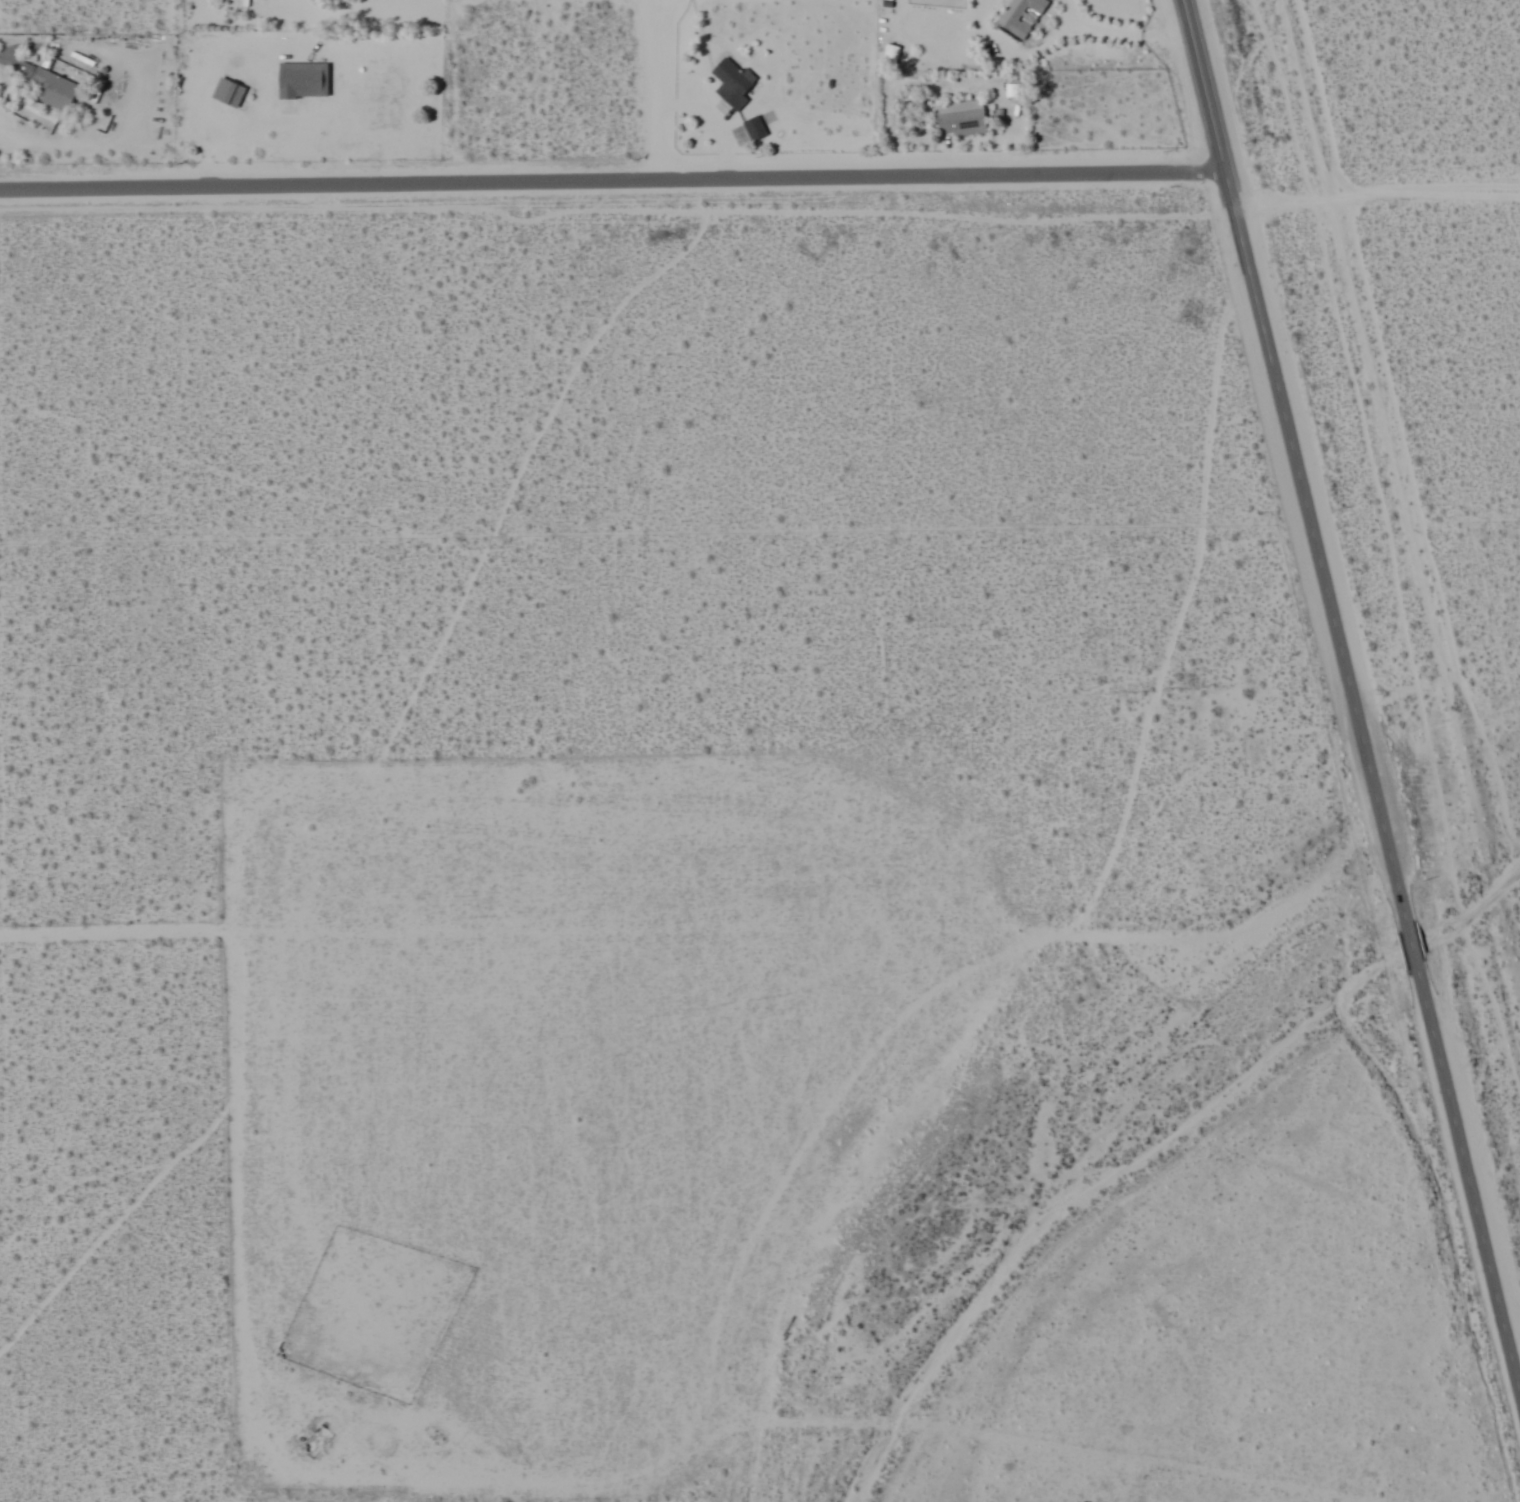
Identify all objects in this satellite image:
building: (1020, 16)
building: (890, 57)
building: (302, 81)
building: (731, 84)
building: (51, 88)
road: (652, 90)
building: (227, 94)
road: (1318, 97)
building: (961, 119)
building: (754, 129)
road: (613, 181)
road: (1290, 196)
road: (1432, 196)
road: (1352, 697)

